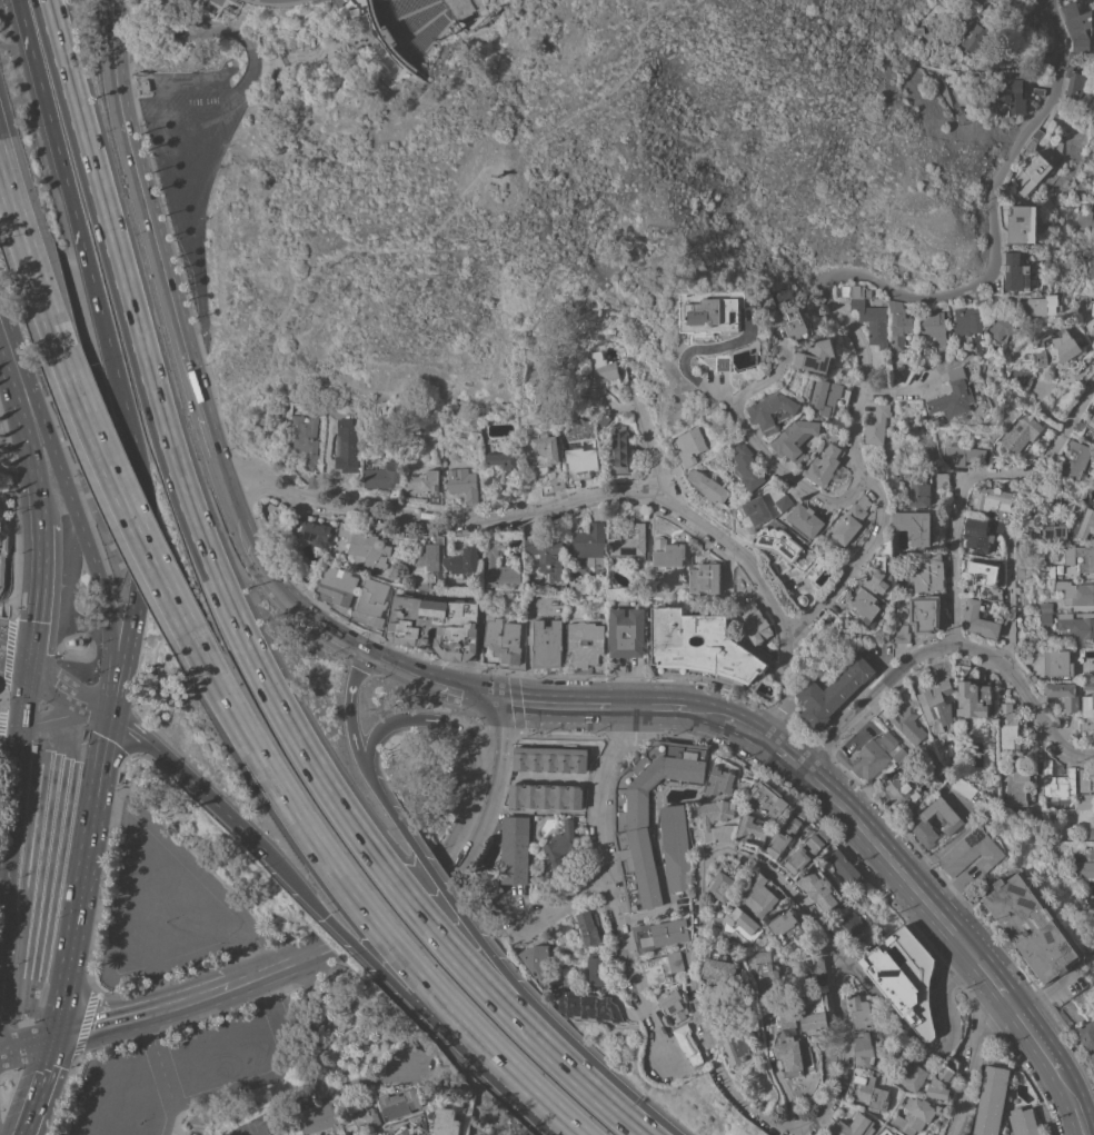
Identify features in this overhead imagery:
road: (411, 11)
building: (473, 21)
road: (419, 24)
building: (1078, 27)
road: (232, 31)
building: (381, 32)
road: (344, 37)
building: (974, 38)
building: (1075, 58)
building: (1044, 59)
road: (415, 60)
road: (408, 61)
road: (265, 64)
road: (405, 66)
building: (284, 79)
building: (1073, 83)
building: (1038, 91)
building: (1011, 94)
building: (1033, 140)
building: (1031, 173)
road: (199, 181)
building: (1085, 219)
building: (1022, 223)
road: (444, 227)
road: (81, 240)
road: (28, 258)
building: (1016, 272)
road: (849, 273)
building: (855, 290)
building: (982, 295)
building: (1042, 306)
road: (172, 307)
building: (1092, 307)
building: (1081, 308)
building: (716, 313)
building: (792, 316)
building: (872, 321)
building: (967, 322)
building: (898, 325)
building: (934, 326)
building: (999, 328)
building: (1092, 330)
building: (1057, 349)
building: (816, 355)
road: (688, 356)
building: (723, 362)
building: (601, 365)
road: (891, 391)
building: (595, 395)
building: (827, 396)
road: (7, 399)
building: (949, 399)
building: (772, 410)
road: (20, 417)
building: (1091, 421)
building: (876, 424)
building: (1020, 435)
building: (1093, 435)
road: (647, 436)
building: (795, 438)
building: (305, 440)
road: (757, 442)
building: (690, 445)
building: (346, 446)
building: (619, 449)
building: (544, 452)
building: (964, 454)
building: (504, 460)
building: (580, 460)
building: (1074, 460)
building: (823, 466)
building: (746, 467)
building: (675, 468)
building: (384, 476)
road: (969, 478)
building: (312, 479)
building: (422, 482)
building: (682, 482)
building: (461, 484)
building: (557, 484)
building: (709, 487)
building: (924, 487)
road: (118, 490)
road: (591, 492)
building: (516, 495)
building: (991, 498)
road: (39, 501)
building: (784, 501)
road: (73, 509)
building: (755, 510)
building: (805, 519)
building: (847, 524)
building: (1084, 525)
building: (915, 526)
building: (997, 526)
building: (1046, 526)
building: (316, 531)
building: (976, 535)
road: (143, 538)
building: (779, 540)
building: (588, 542)
building: (630, 544)
building: (366, 546)
building: (667, 552)
building: (547, 555)
building: (1081, 556)
building: (463, 560)
building: (418, 562)
building: (499, 567)
road: (1011, 567)
building: (879, 570)
building: (1022, 571)
building: (1047, 571)
building: (927, 573)
building: (705, 577)
building: (985, 578)
building: (336, 586)
building: (1076, 593)
road: (38, 595)
building: (802, 599)
building: (371, 604)
building: (864, 604)
road: (22, 605)
building: (1045, 607)
road: (136, 608)
building: (924, 613)
building: (977, 620)
building: (1045, 621)
building: (754, 623)
building: (1076, 625)
building: (436, 626)
road: (238, 628)
road: (324, 629)
building: (899, 633)
building: (615, 634)
building: (503, 639)
road: (527, 644)
building: (547, 644)
building: (587, 646)
road: (944, 646)
building: (702, 649)
traffic signals: (368, 655)
building: (1082, 655)
road: (126, 658)
road: (24, 660)
building: (1051, 663)
traffic signals: (28, 669)
road: (402, 670)
road: (355, 676)
road: (26, 684)
building: (1088, 687)
road: (465, 691)
building: (833, 691)
building: (1063, 694)
road: (67, 696)
building: (973, 697)
traffic signals: (491, 698)
building: (937, 701)
road: (111, 705)
road: (559, 705)
road: (655, 707)
building: (1087, 713)
road: (704, 714)
traffic signals: (110, 716)
road: (63, 718)
road: (9, 720)
traffic signals: (19, 723)
road: (446, 724)
building: (908, 725)
building: (1008, 726)
road: (36, 729)
road: (747, 731)
road: (8, 738)
traffic signals: (17, 739)
road: (354, 743)
road: (60, 746)
building: (974, 753)
road: (784, 756)
building: (874, 756)
building: (549, 759)
road: (491, 767)
building: (902, 767)
building: (1057, 779)
road: (189, 780)
building: (1093, 780)
building: (719, 783)
building: (1020, 783)
road: (111, 785)
building: (963, 787)
road: (10, 790)
building: (545, 795)
building: (899, 796)
building: (767, 799)
building: (1085, 800)
building: (717, 812)
building: (918, 823)
building: (637, 828)
building: (750, 828)
building: (1092, 828)
building: (725, 832)
building: (786, 832)
building: (560, 845)
building: (676, 847)
building: (515, 849)
traffic signals: (266, 850)
building: (807, 850)
building: (972, 852)
building: (1091, 852)
road: (457, 854)
road: (884, 854)
building: (844, 868)
building: (1083, 868)
road: (331, 869)
road: (82, 878)
building: (727, 879)
building: (487, 884)
road: (610, 888)
building: (820, 889)
building: (758, 895)
road: (566, 903)
parking lot: (165, 908)
road: (644, 912)
building: (1091, 914)
street lamp: (166, 919)
building: (854, 923)
building: (740, 924)
building: (787, 926)
building: (587, 927)
building: (1031, 927)
road: (702, 928)
building: (883, 928)
building: (660, 934)
building: (536, 959)
building: (814, 966)
building: (597, 968)
building: (718, 968)
building: (663, 969)
road: (279, 970)
road: (504, 972)
road: (985, 972)
road: (384, 973)
building: (773, 976)
building: (904, 977)
building: (589, 1006)
building: (675, 1006)
road: (1014, 1008)
road: (177, 1009)
building: (861, 1010)
building: (816, 1012)
road: (767, 1017)
building: (792, 1019)
road: (88, 1033)
building: (1086, 1034)
traffic signals: (53, 1041)
road: (1040, 1044)
road: (27, 1045)
building: (690, 1045)
building: (739, 1046)
building: (865, 1048)
road: (845, 1052)
building: (810, 1053)
road: (925, 1054)
building: (793, 1056)
building: (1092, 1058)
road: (47, 1064)
road: (973, 1064)
road: (684, 1068)
parking lot: (186, 1069)
road: (317, 1069)
road: (271, 1072)
building: (914, 1074)
road: (165, 1076)
building: (941, 1083)
road: (534, 1089)
building: (873, 1093)
building: (399, 1101)
building: (991, 1101)
road: (1072, 1102)
road: (31, 1112)
building: (914, 1115)
building: (317, 1116)
building: (361, 1119)
road: (558, 1119)
road: (565, 1119)
building: (447, 1122)
building: (1023, 1122)
building: (854, 1125)
parking lot: (253, 1126)
building: (404, 1131)
building: (886, 1132)
building: (928, 1133)
building: (330, 1134)
building: (425, 1134)
building: (824, 1134)

